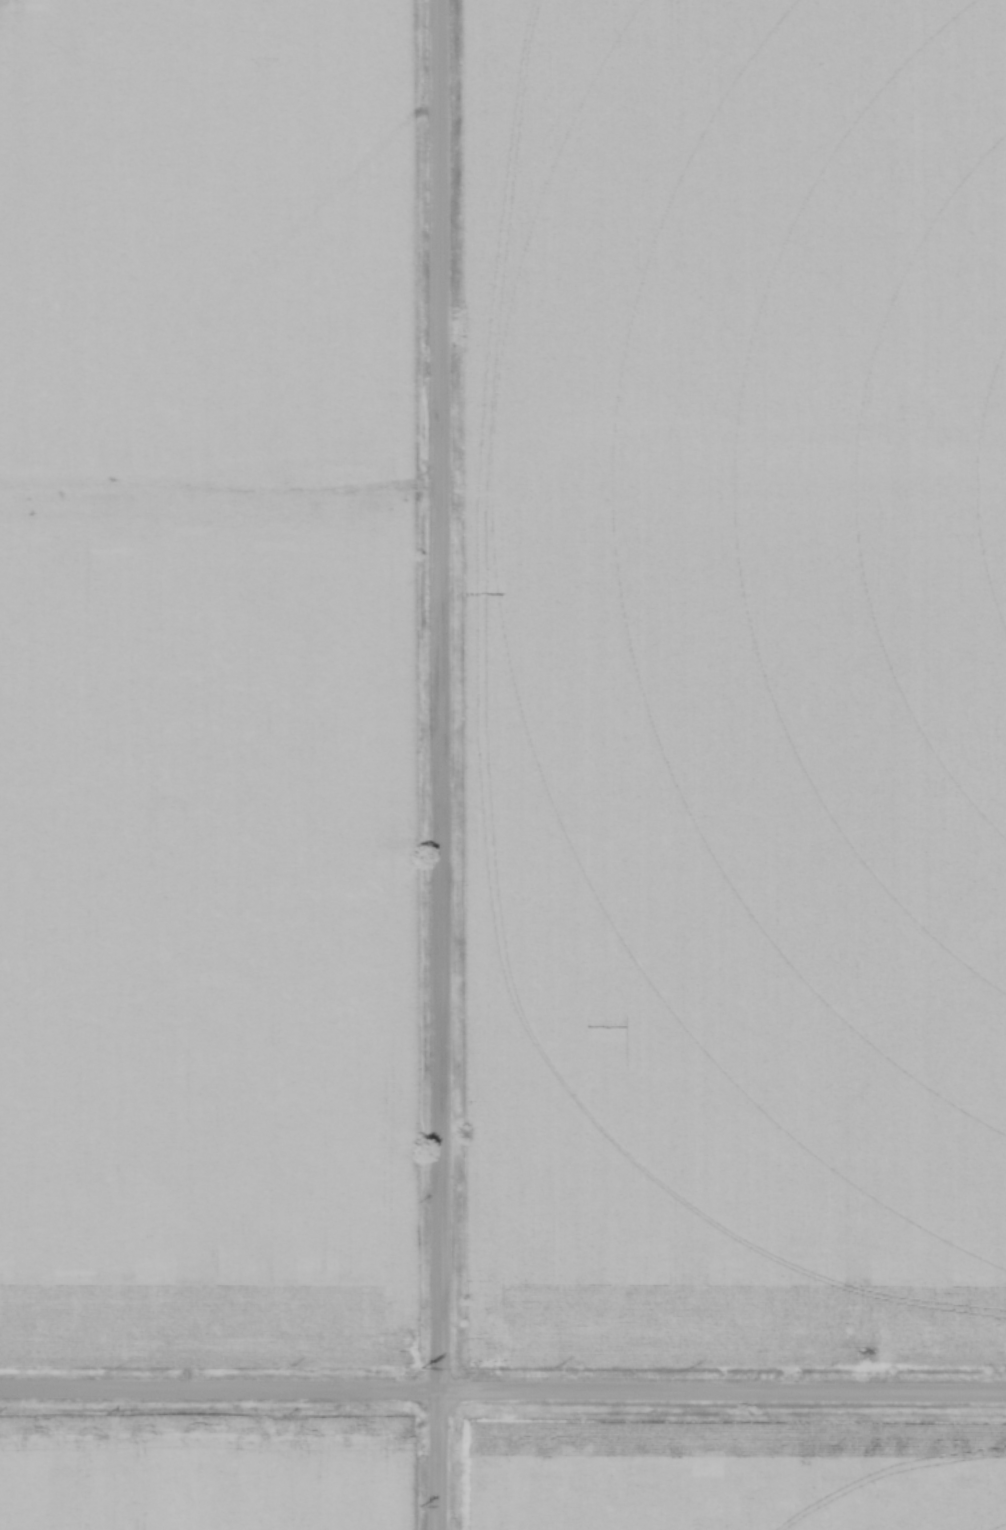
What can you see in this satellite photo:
road: (440, 765)
road: (503, 1393)

